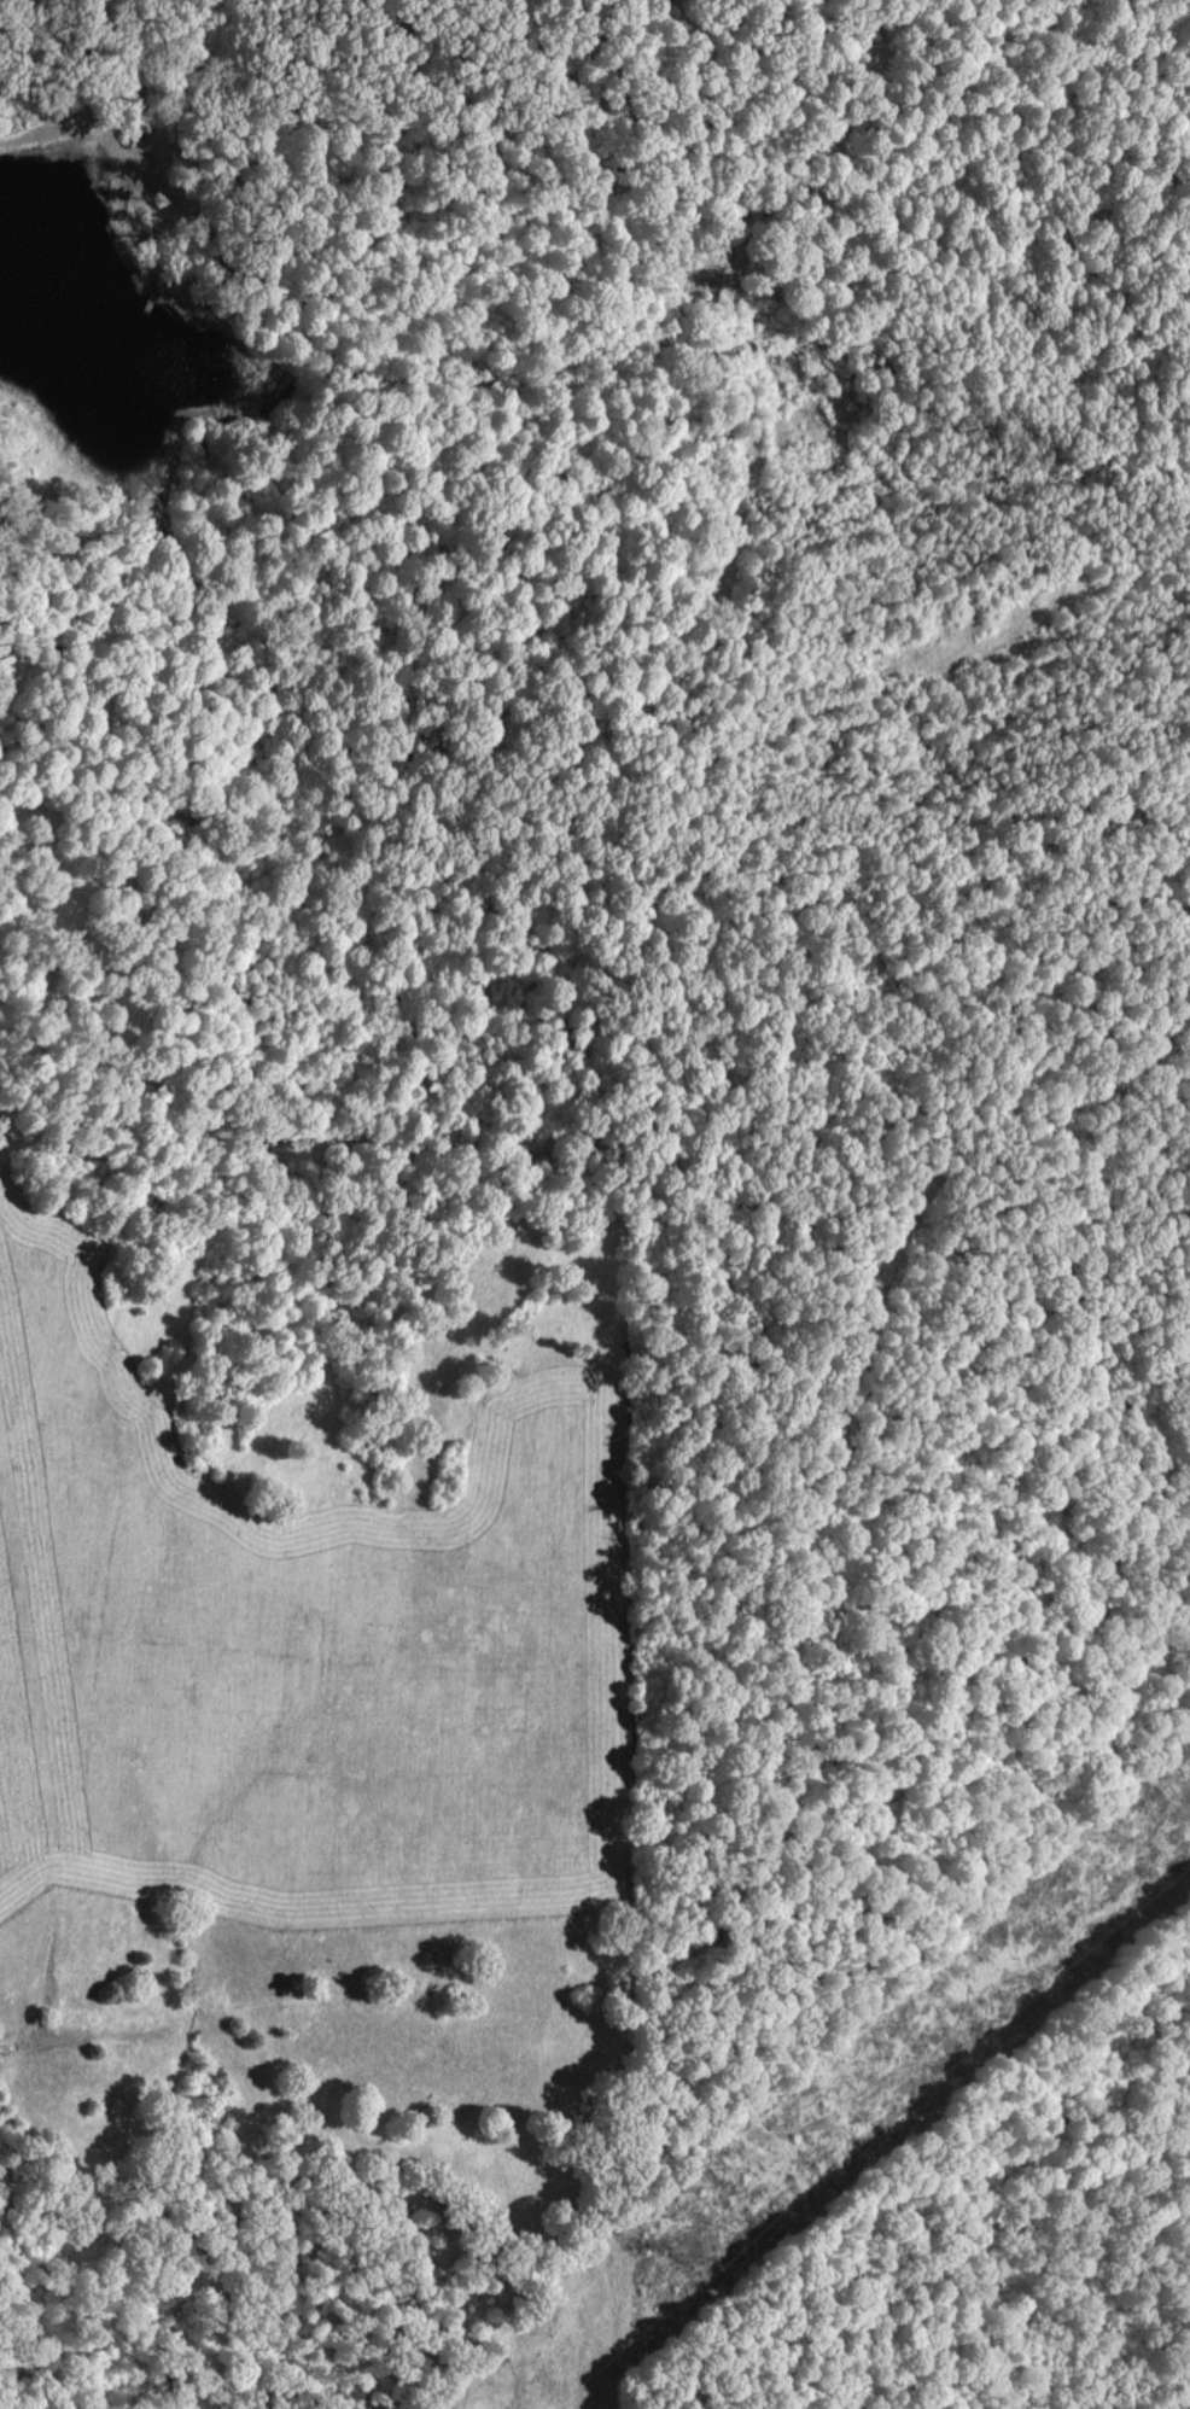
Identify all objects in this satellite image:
power tower: (683, 2248)

